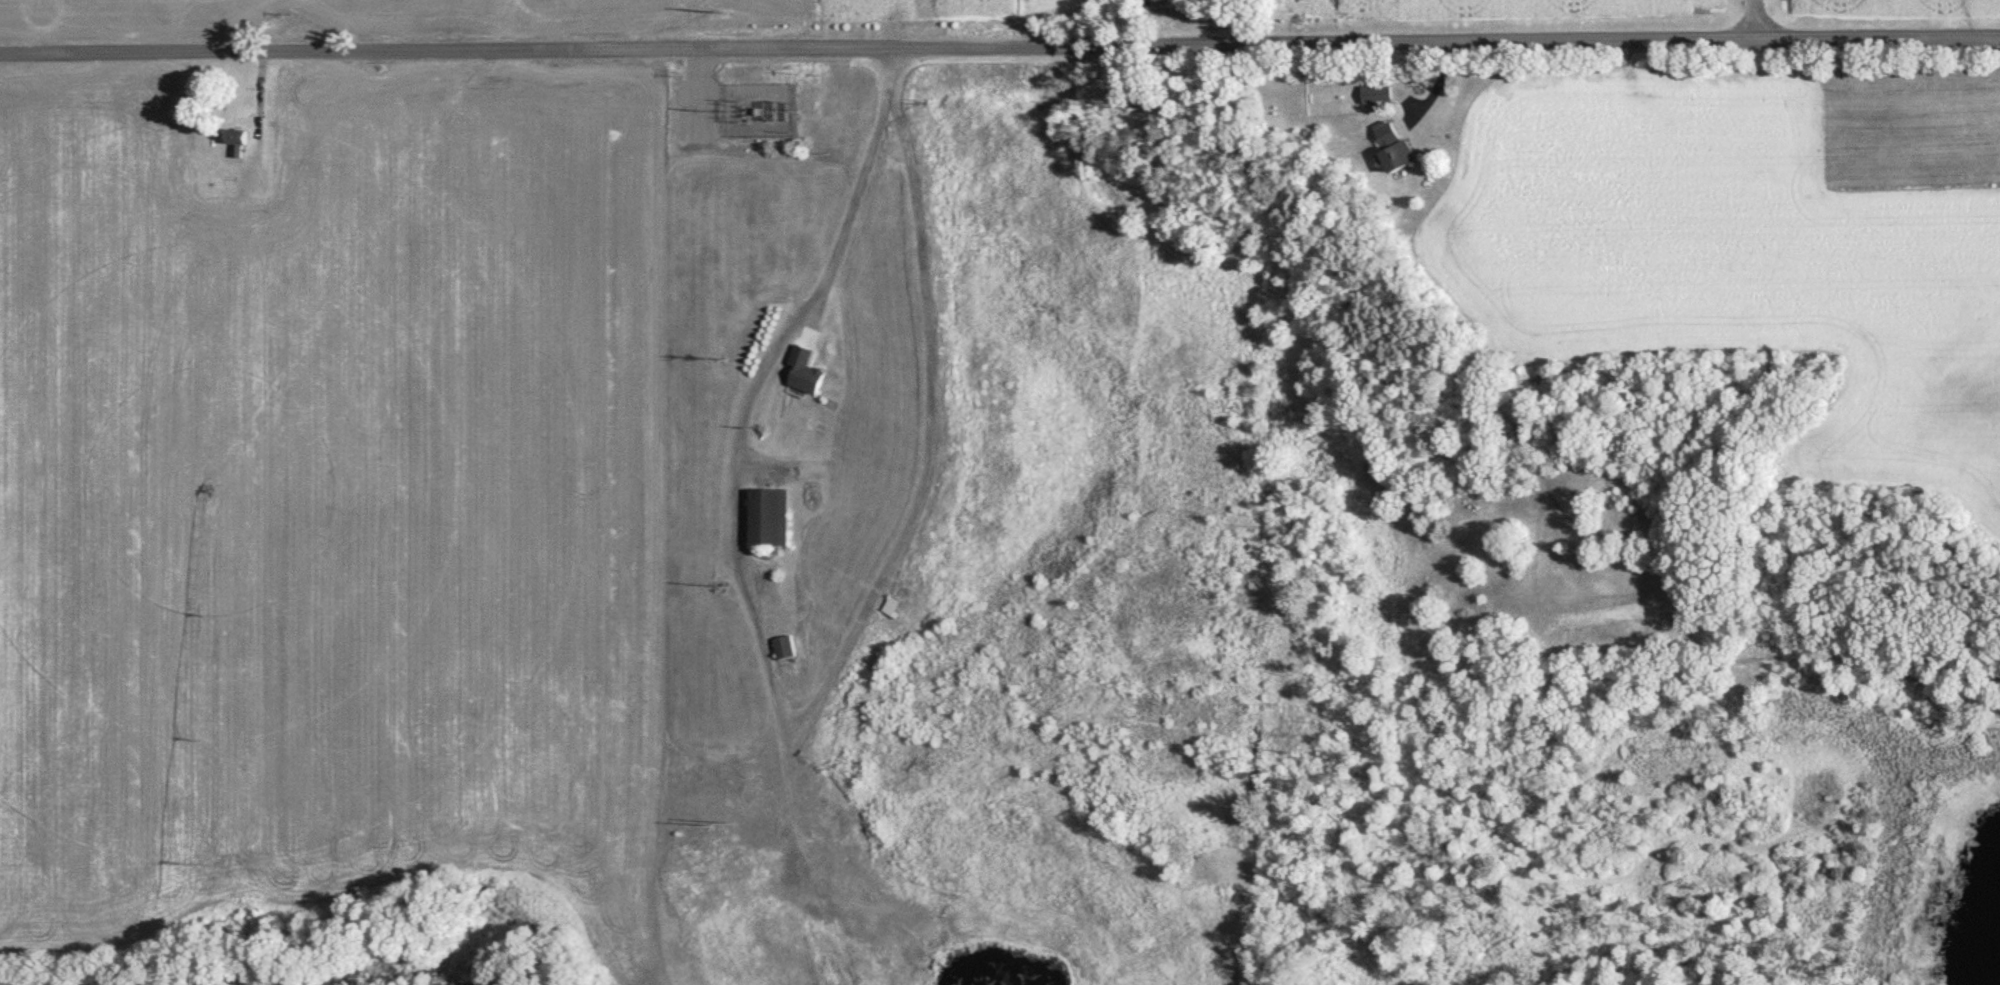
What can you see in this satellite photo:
road: (1753, 20)
road: (999, 46)
road: (704, 86)
road: (717, 93)
power substation: (762, 110)
power tower: (724, 111)
building: (234, 141)
building: (1392, 151)
building: (803, 377)
building: (767, 522)
building: (892, 611)
building: (783, 651)
road: (772, 702)

